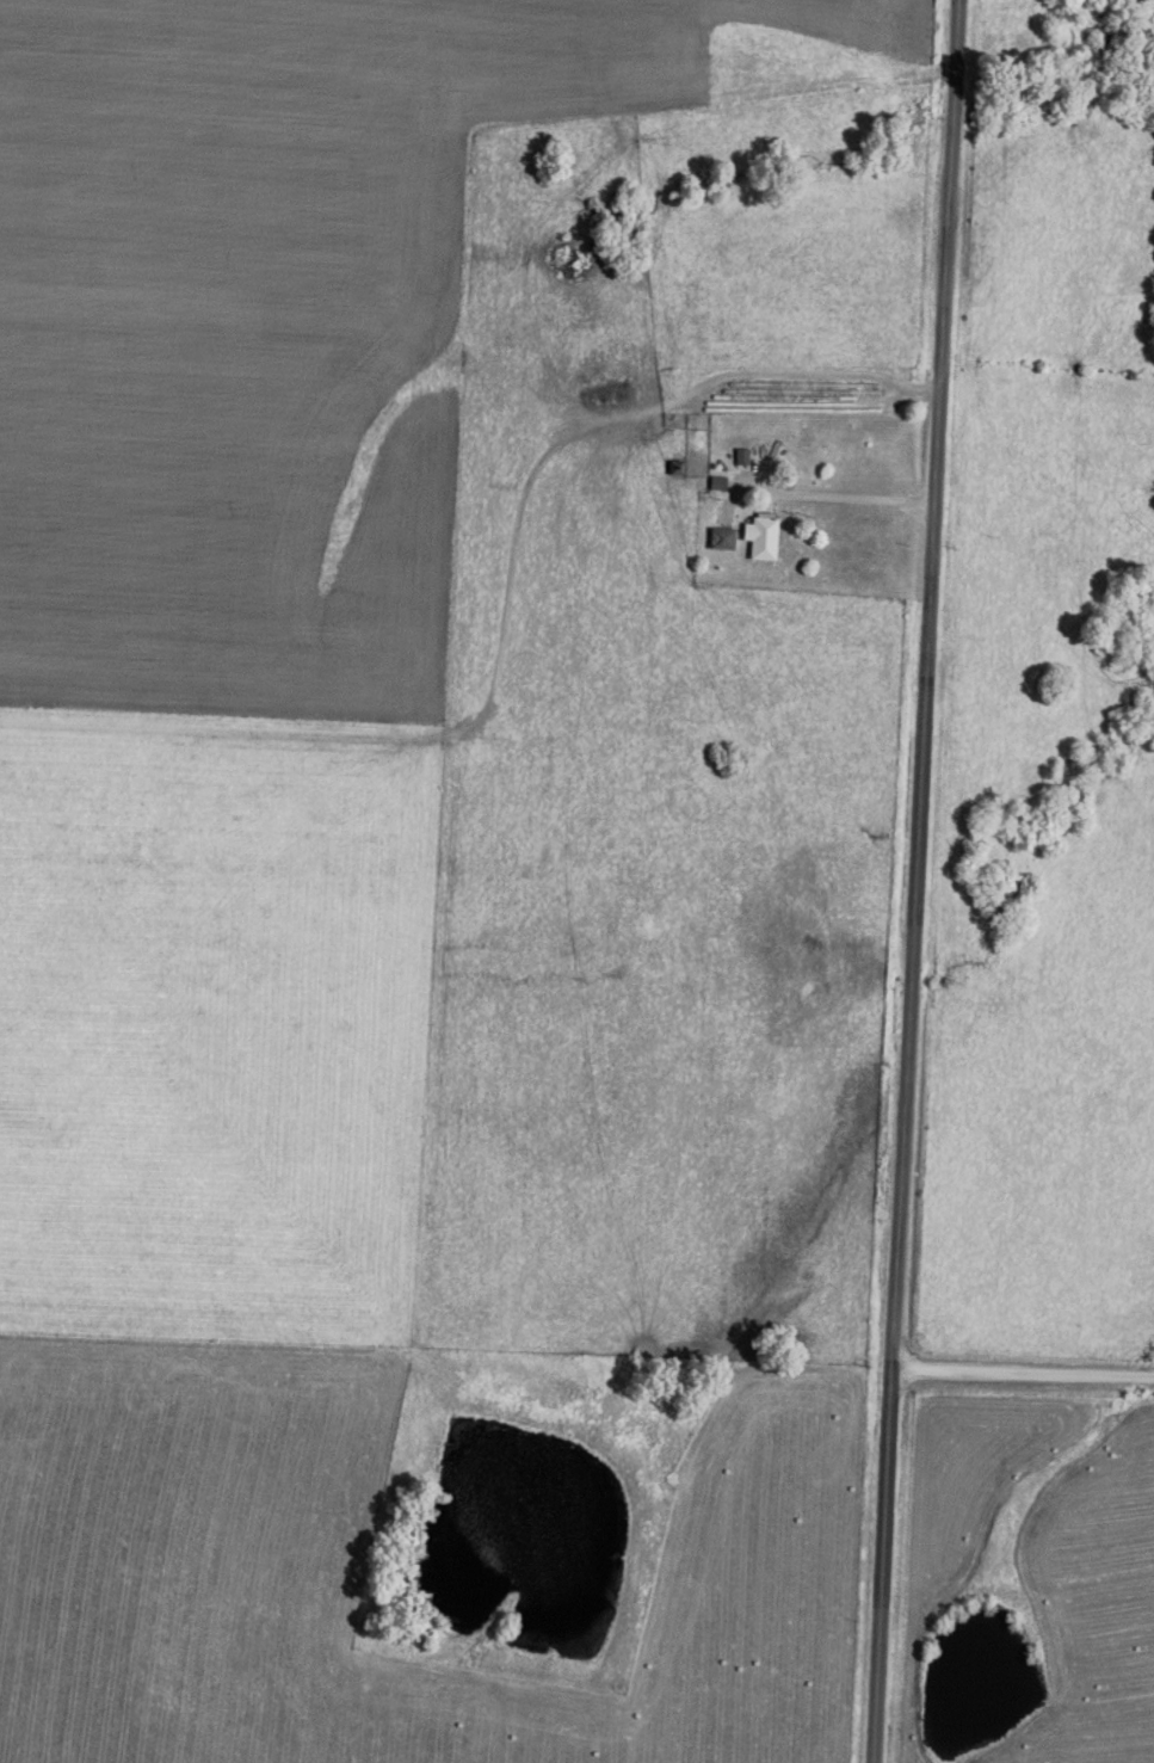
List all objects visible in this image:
road: (669, 397)
building: (717, 481)
road: (791, 492)
building: (763, 535)
building: (722, 537)
road: (396, 812)
road: (915, 881)
road: (1024, 1374)

